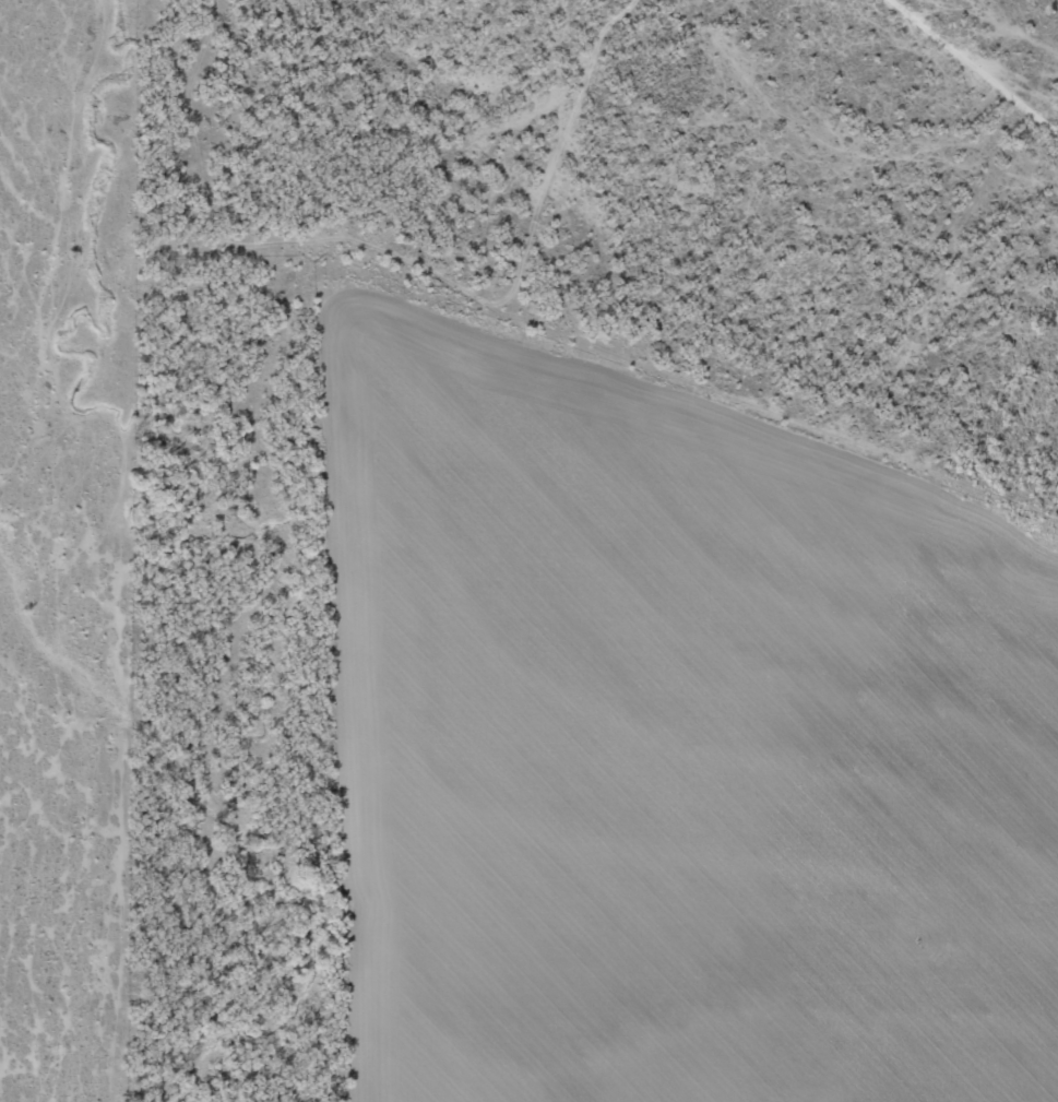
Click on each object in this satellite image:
road: (973, 58)

